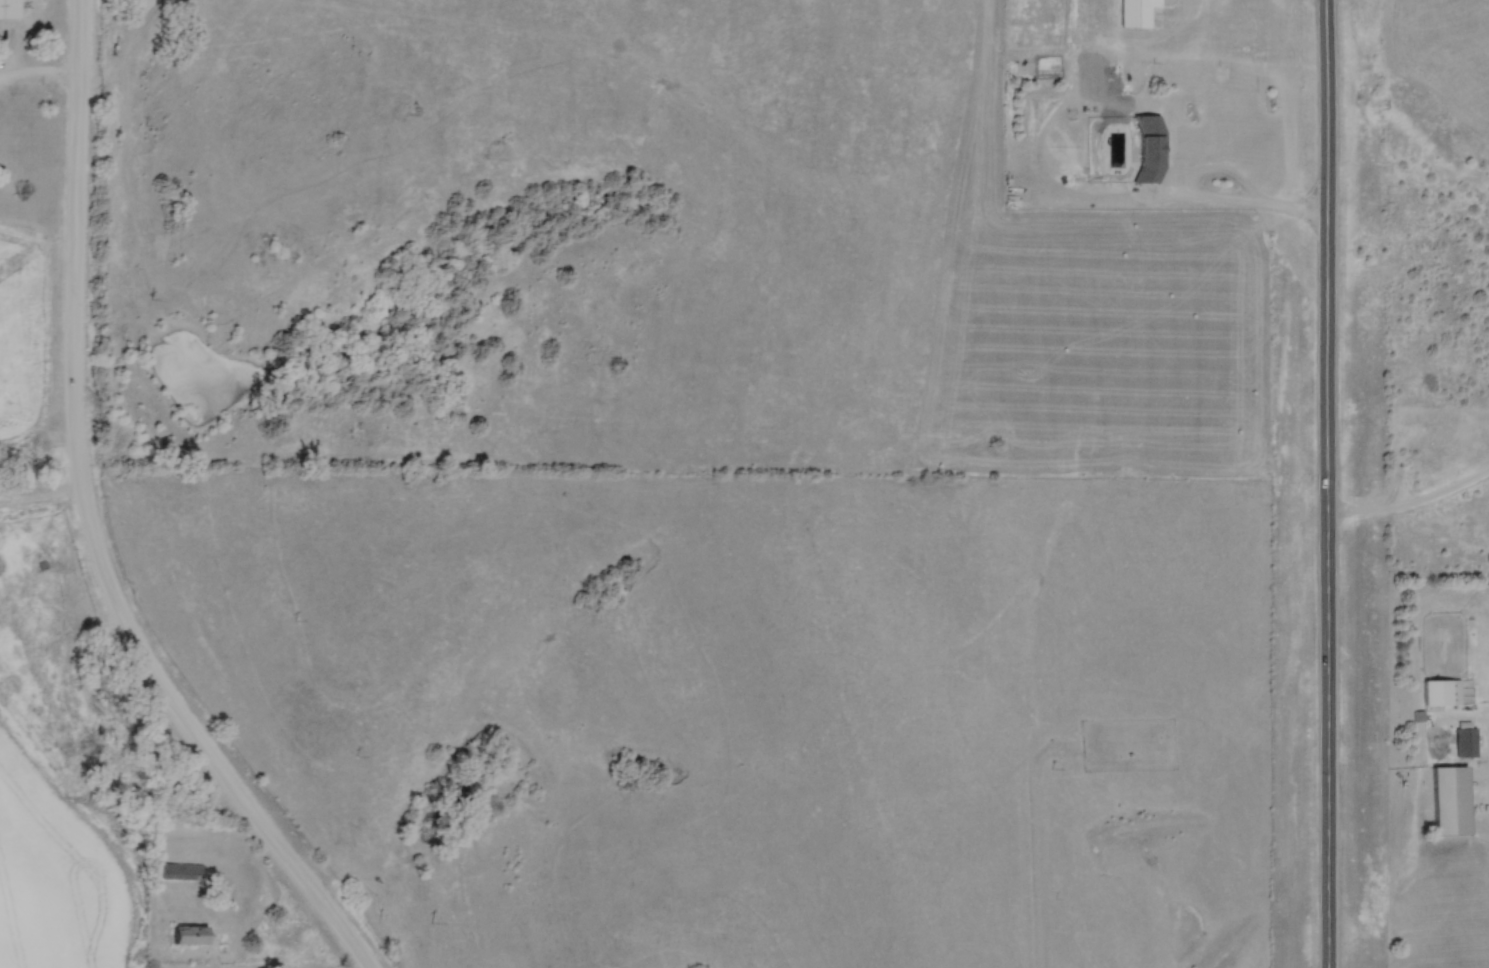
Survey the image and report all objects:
building: (7, 8)
building: (1137, 13)
road: (39, 78)
building: (1150, 150)
road: (1202, 191)
road: (1327, 483)
road: (1410, 498)
road: (88, 525)
building: (1436, 691)
building: (1463, 738)
building: (1449, 799)
building: (182, 872)
building: (190, 937)

